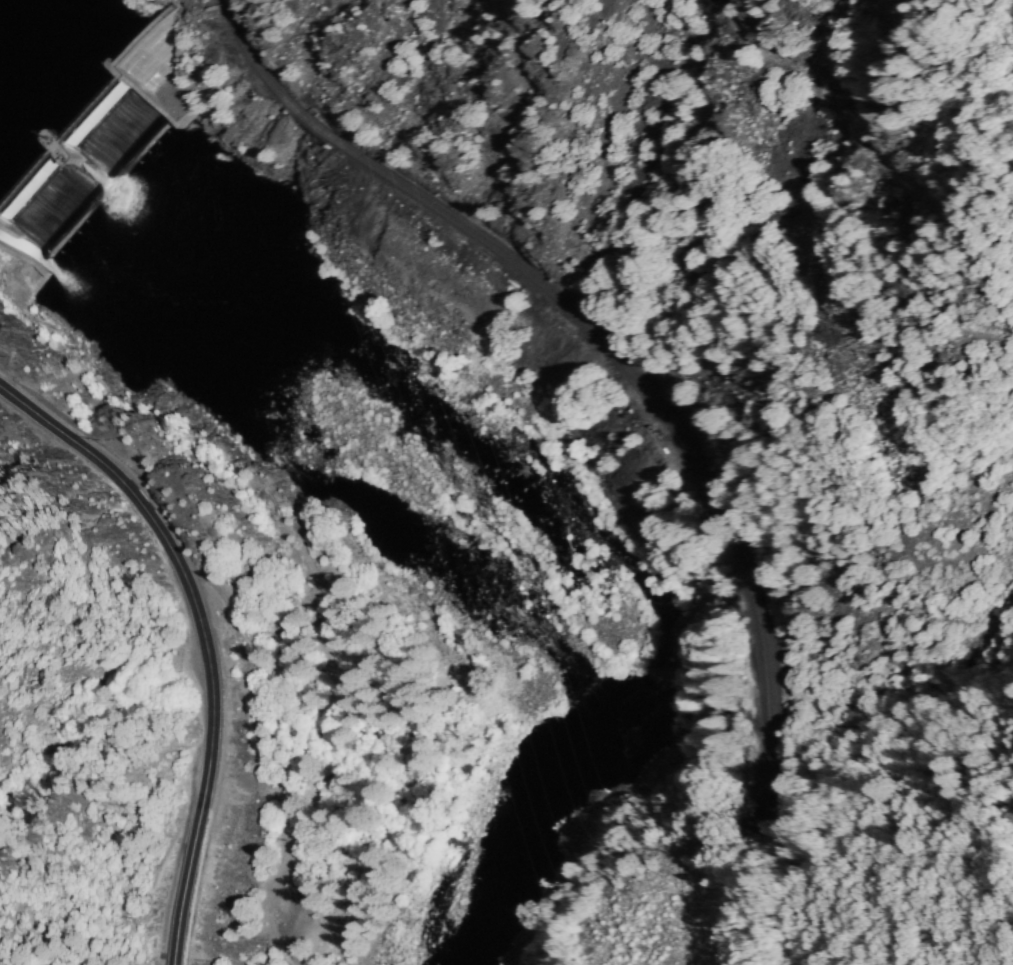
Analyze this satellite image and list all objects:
dam: (92, 154)
river: (3, 233)
power tower: (834, 336)
river: (154, 351)
railway: (618, 355)
river: (482, 570)
road: (205, 636)
river: (526, 836)

